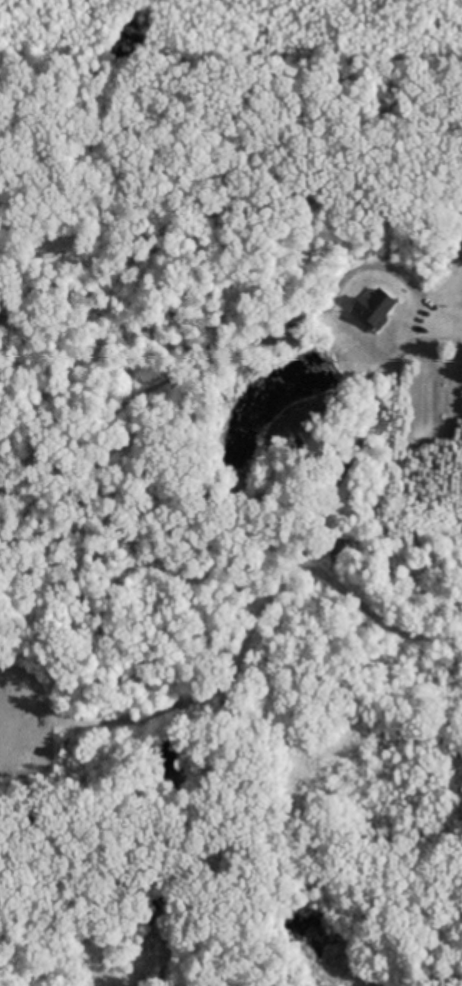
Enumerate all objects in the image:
building: (47, 258)
building: (374, 308)

